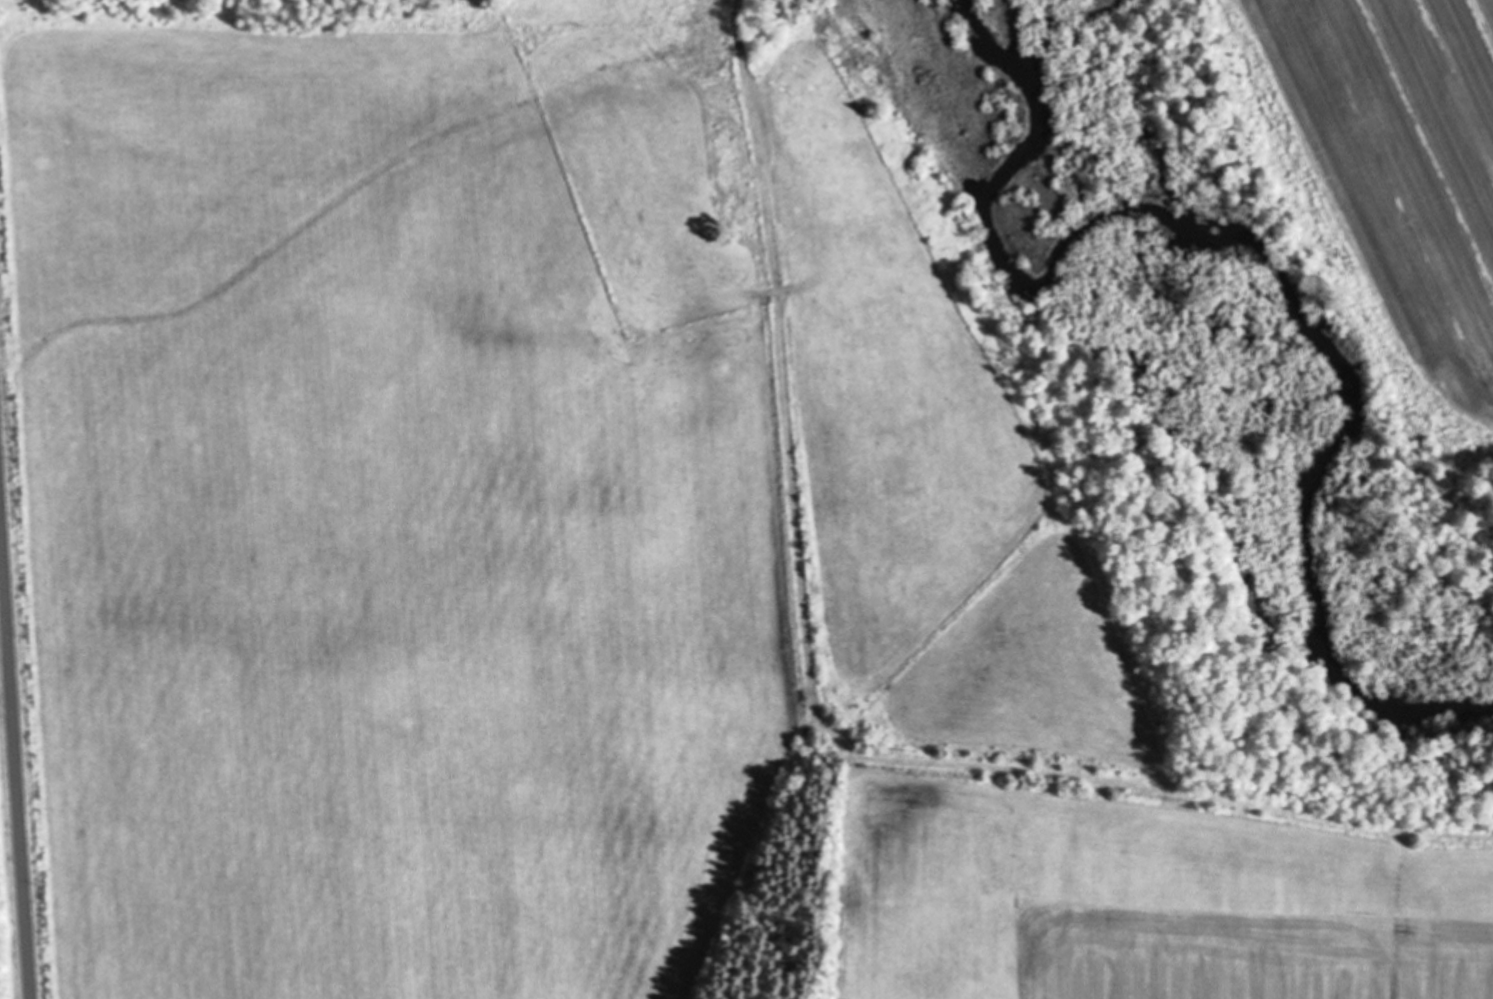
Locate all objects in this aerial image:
river: (1275, 269)
road: (783, 357)
road: (13, 775)

